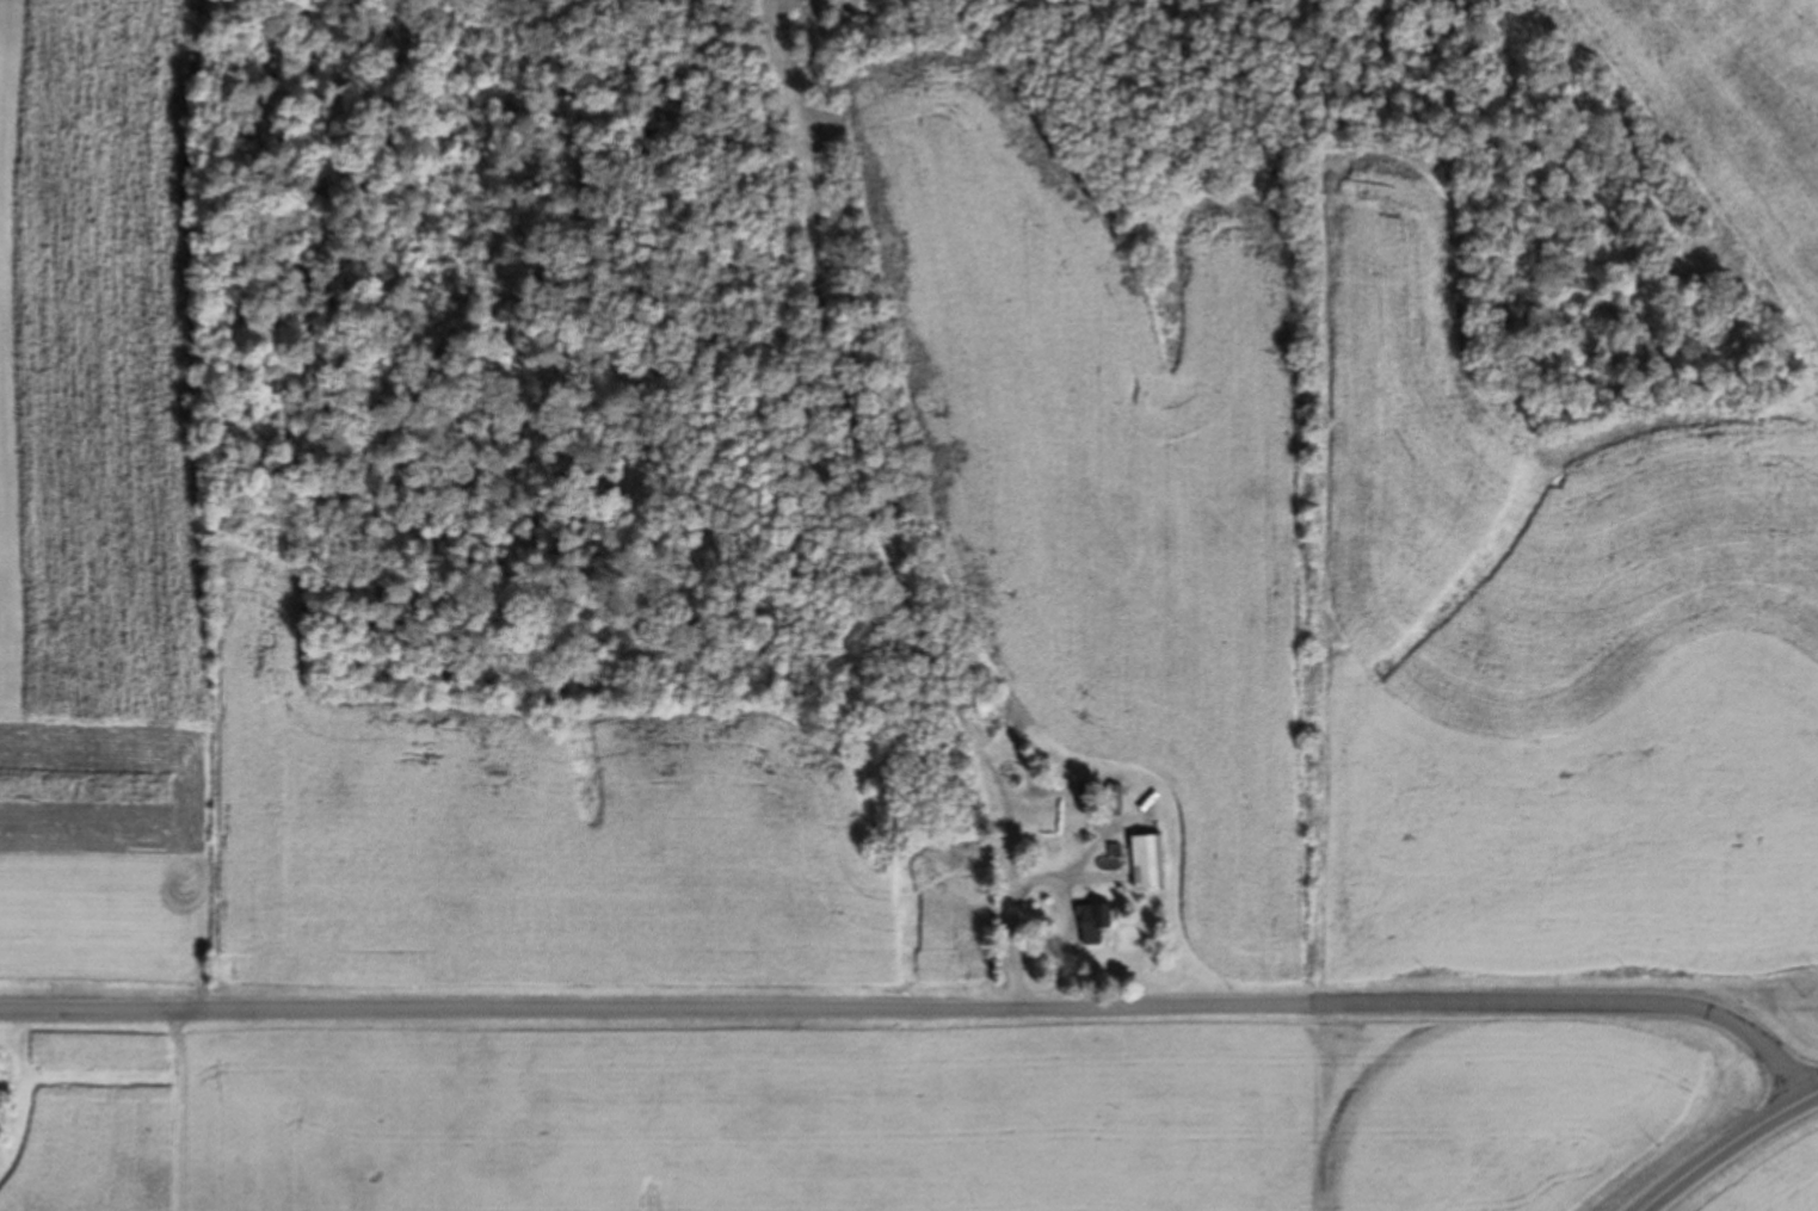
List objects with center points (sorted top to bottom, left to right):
building: (1118, 802)
building: (1148, 863)
building: (1095, 923)
road: (922, 1003)
road: (1728, 1148)

